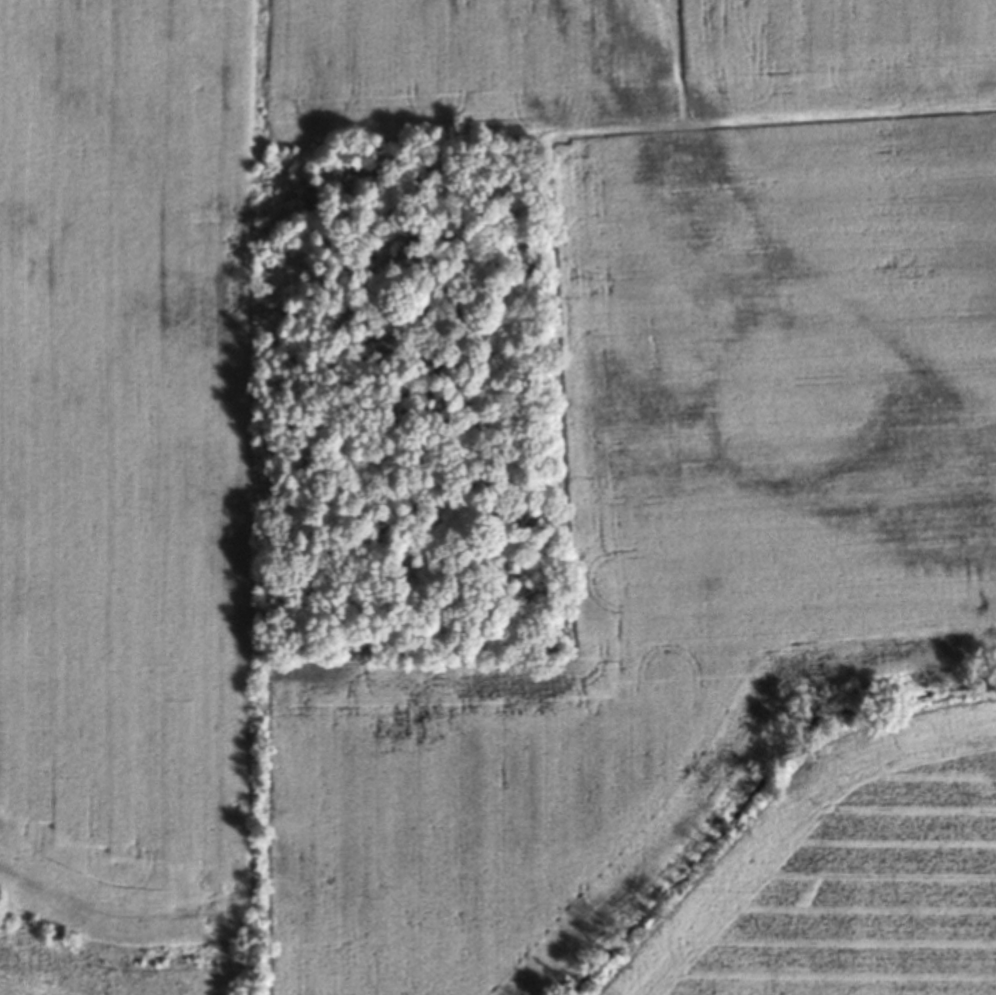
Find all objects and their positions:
road: (773, 122)

